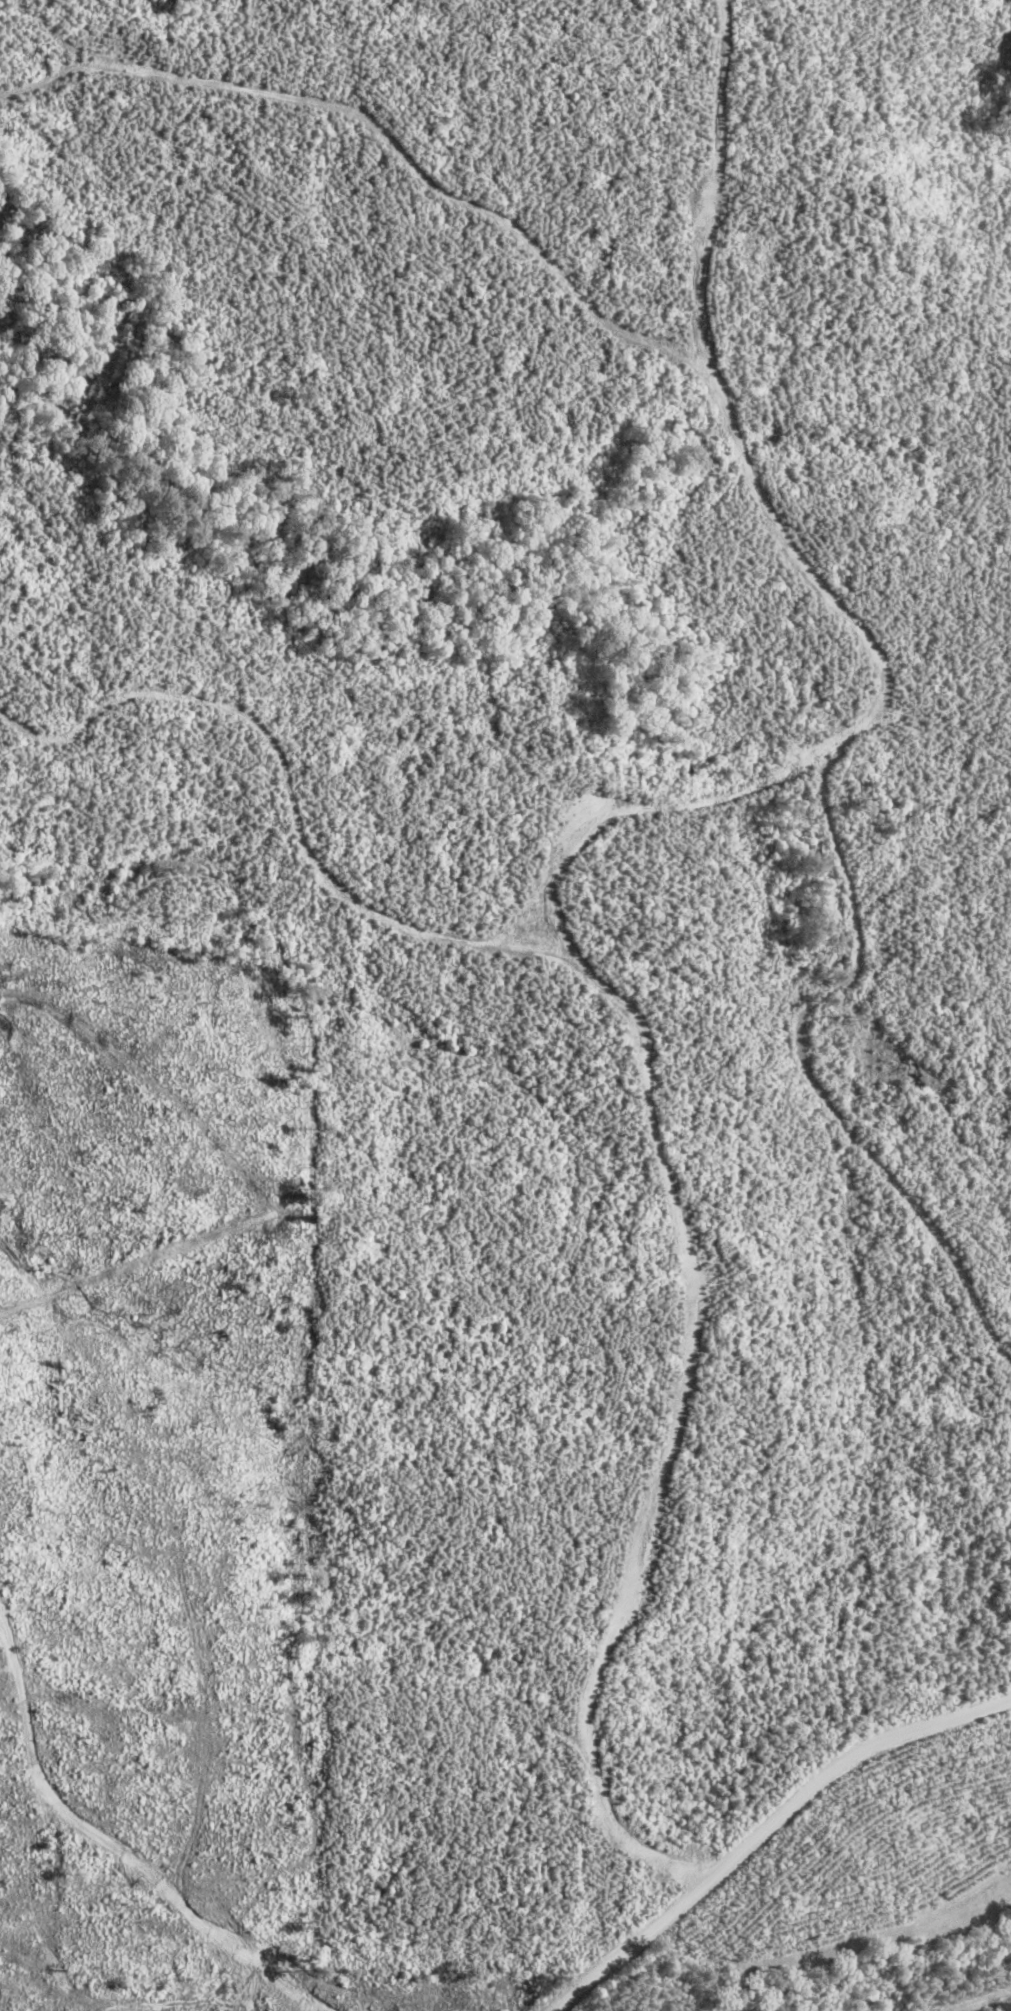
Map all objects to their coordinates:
road: (764, 1822)

